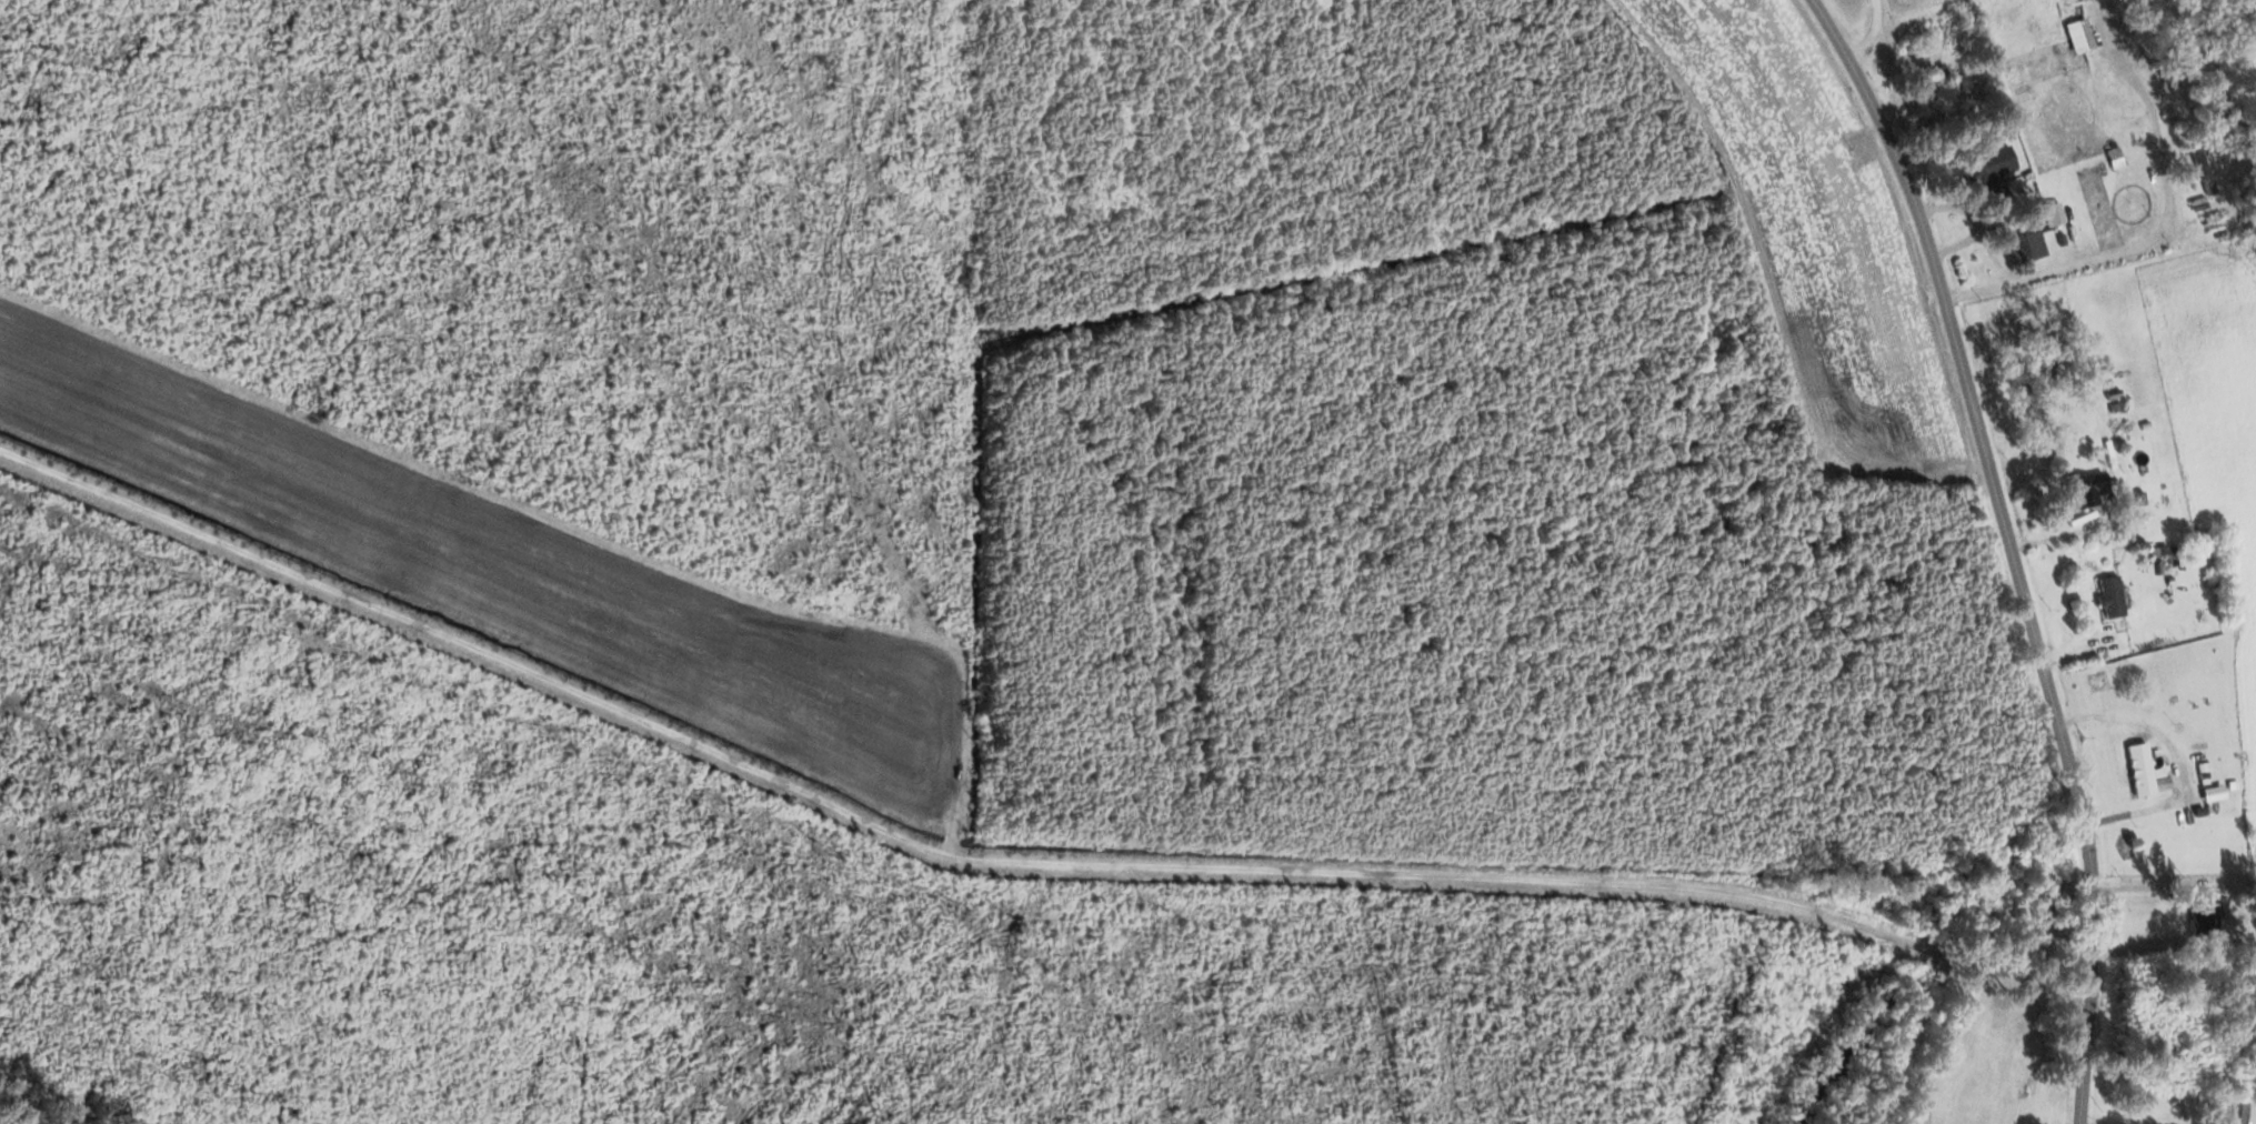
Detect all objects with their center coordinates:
building: (2142, 18)
road: (1868, 36)
building: (2077, 37)
building: (2174, 69)
building: (1932, 84)
building: (1991, 172)
building: (2200, 173)
road: (2163, 231)
building: (2029, 247)
road: (1969, 398)
building: (2084, 492)
building: (2109, 598)
building: (2138, 770)
road: (2087, 877)
building: (2204, 919)
road: (2086, 1031)
building: (2230, 1112)

